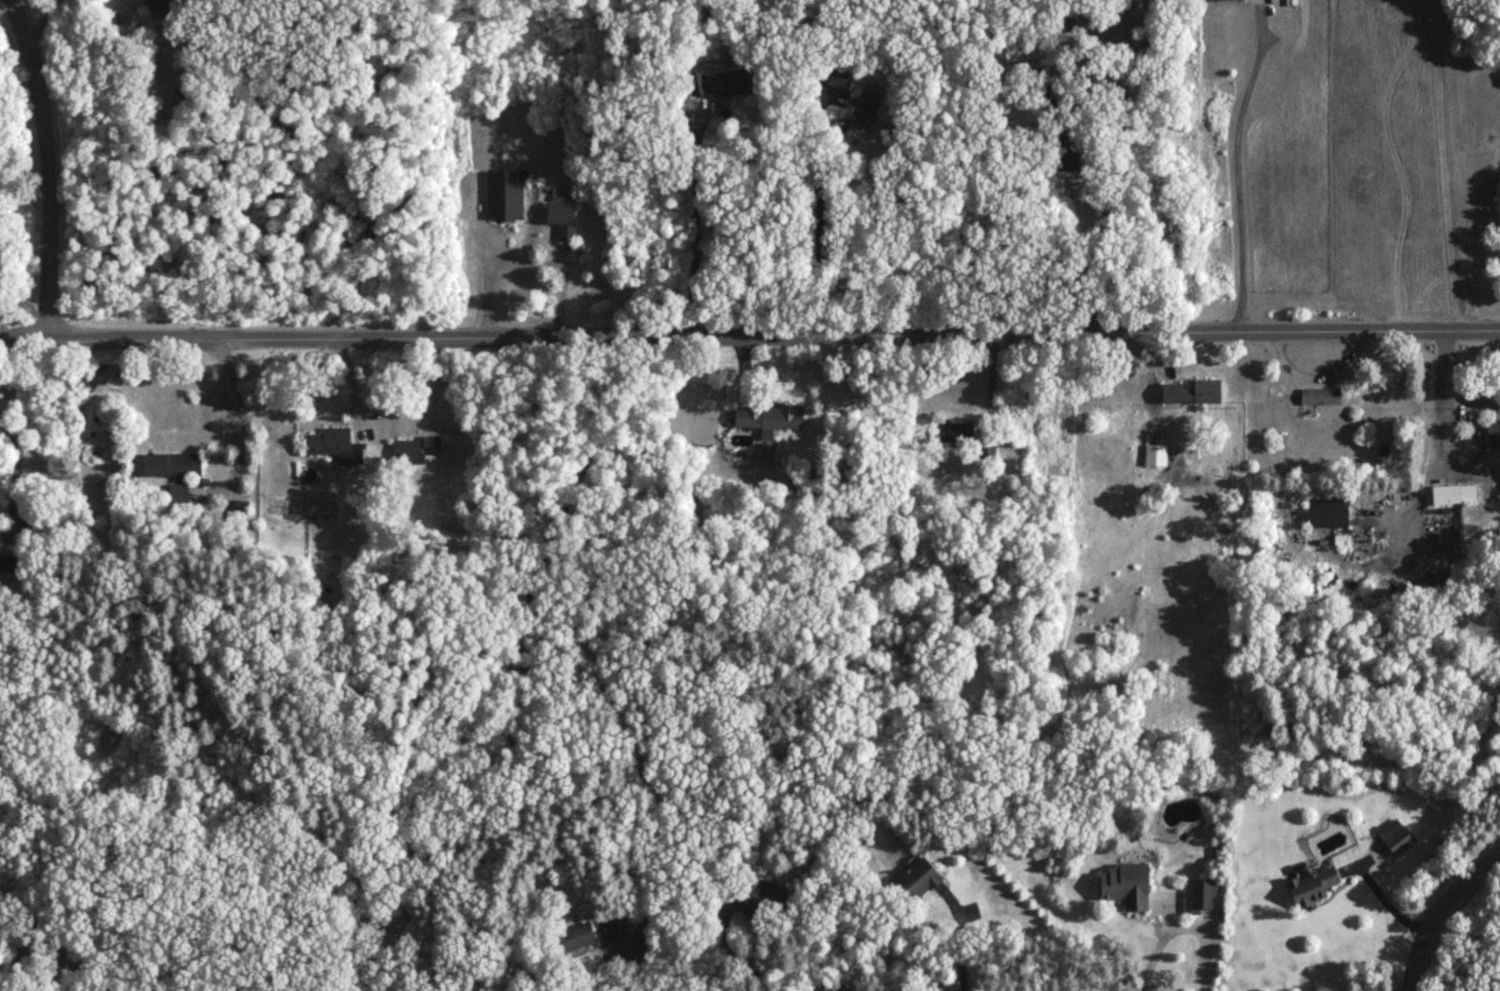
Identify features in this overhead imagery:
building: (1228, 0)
road: (42, 20)
building: (1020, 49)
building: (836, 78)
building: (721, 84)
building: (862, 112)
road: (1118, 144)
building: (1066, 151)
road: (48, 167)
road: (1236, 169)
building: (504, 196)
road: (817, 219)
building: (561, 220)
road: (694, 230)
road: (521, 260)
road: (749, 337)
building: (1191, 393)
building: (1315, 396)
road: (246, 405)
road: (1481, 406)
building: (767, 419)
building: (116, 423)
road: (1475, 425)
building: (1492, 433)
building: (953, 434)
road: (1437, 434)
building: (328, 442)
building: (413, 450)
building: (985, 451)
building: (1154, 456)
building: (170, 466)
road: (16, 471)
building: (178, 494)
building: (1453, 495)
building: (319, 506)
building: (1326, 513)
building: (6, 564)
road: (556, 651)
building: (1388, 842)
building: (916, 880)
building: (1125, 885)
building: (1310, 887)
building: (761, 894)
building: (1198, 897)
road: (1384, 898)
road: (1436, 910)
road: (1180, 928)
building: (613, 929)
building: (576, 937)
road: (959, 939)

